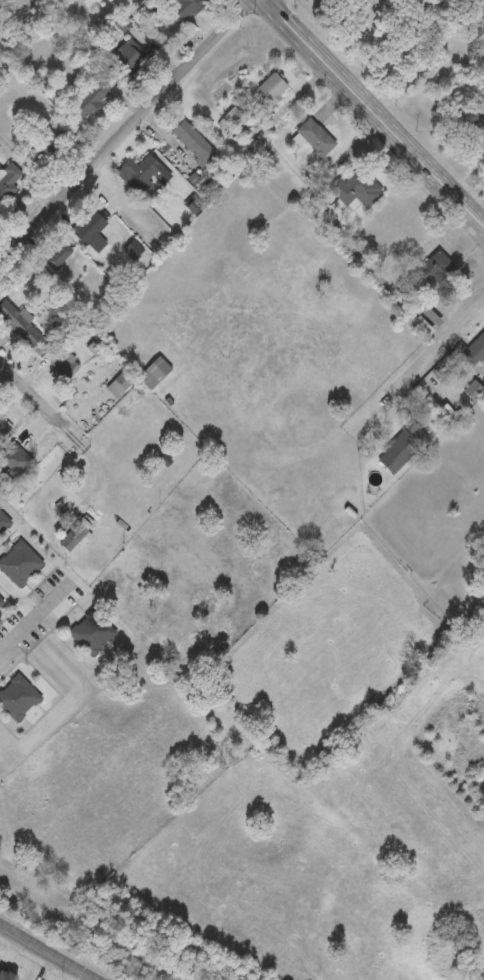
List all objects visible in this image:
building: (186, 8)
building: (130, 57)
building: (273, 89)
building: (93, 98)
road: (373, 120)
building: (480, 127)
road: (124, 128)
building: (315, 138)
building: (54, 139)
building: (193, 143)
building: (146, 171)
building: (8, 182)
road: (465, 183)
building: (357, 190)
building: (91, 231)
building: (133, 250)
building: (58, 256)
building: (432, 270)
building: (19, 324)
building: (474, 352)
road: (425, 355)
building: (64, 366)
building: (154, 374)
building: (120, 385)
road: (33, 391)
building: (473, 391)
building: (3, 426)
building: (401, 450)
road: (99, 461)
building: (4, 522)
building: (75, 536)
building: (19, 564)
building: (481, 569)
building: (1, 603)
road: (36, 619)
building: (92, 633)
building: (18, 699)
road: (49, 951)
building: (6, 976)
road: (92, 978)

